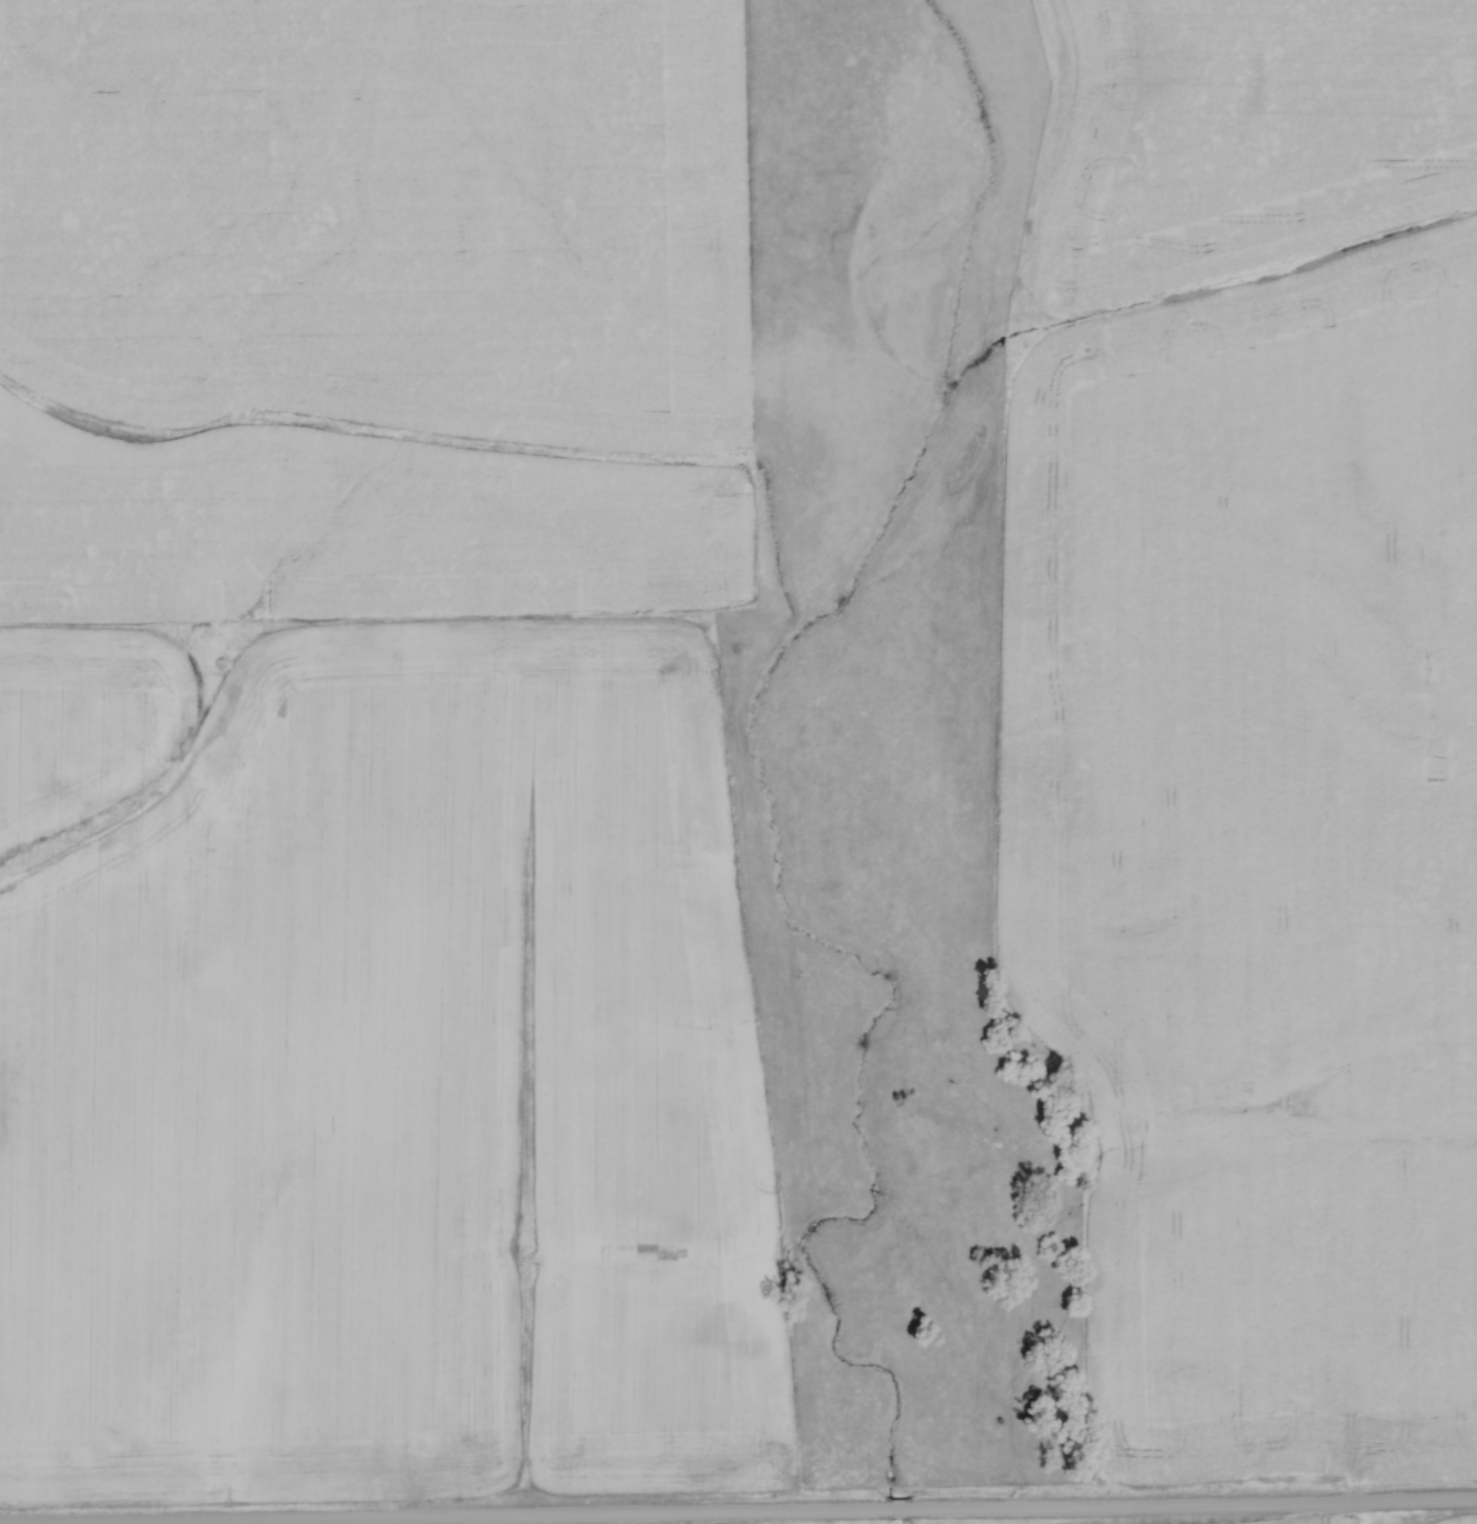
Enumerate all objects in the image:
road: (945, 1514)

